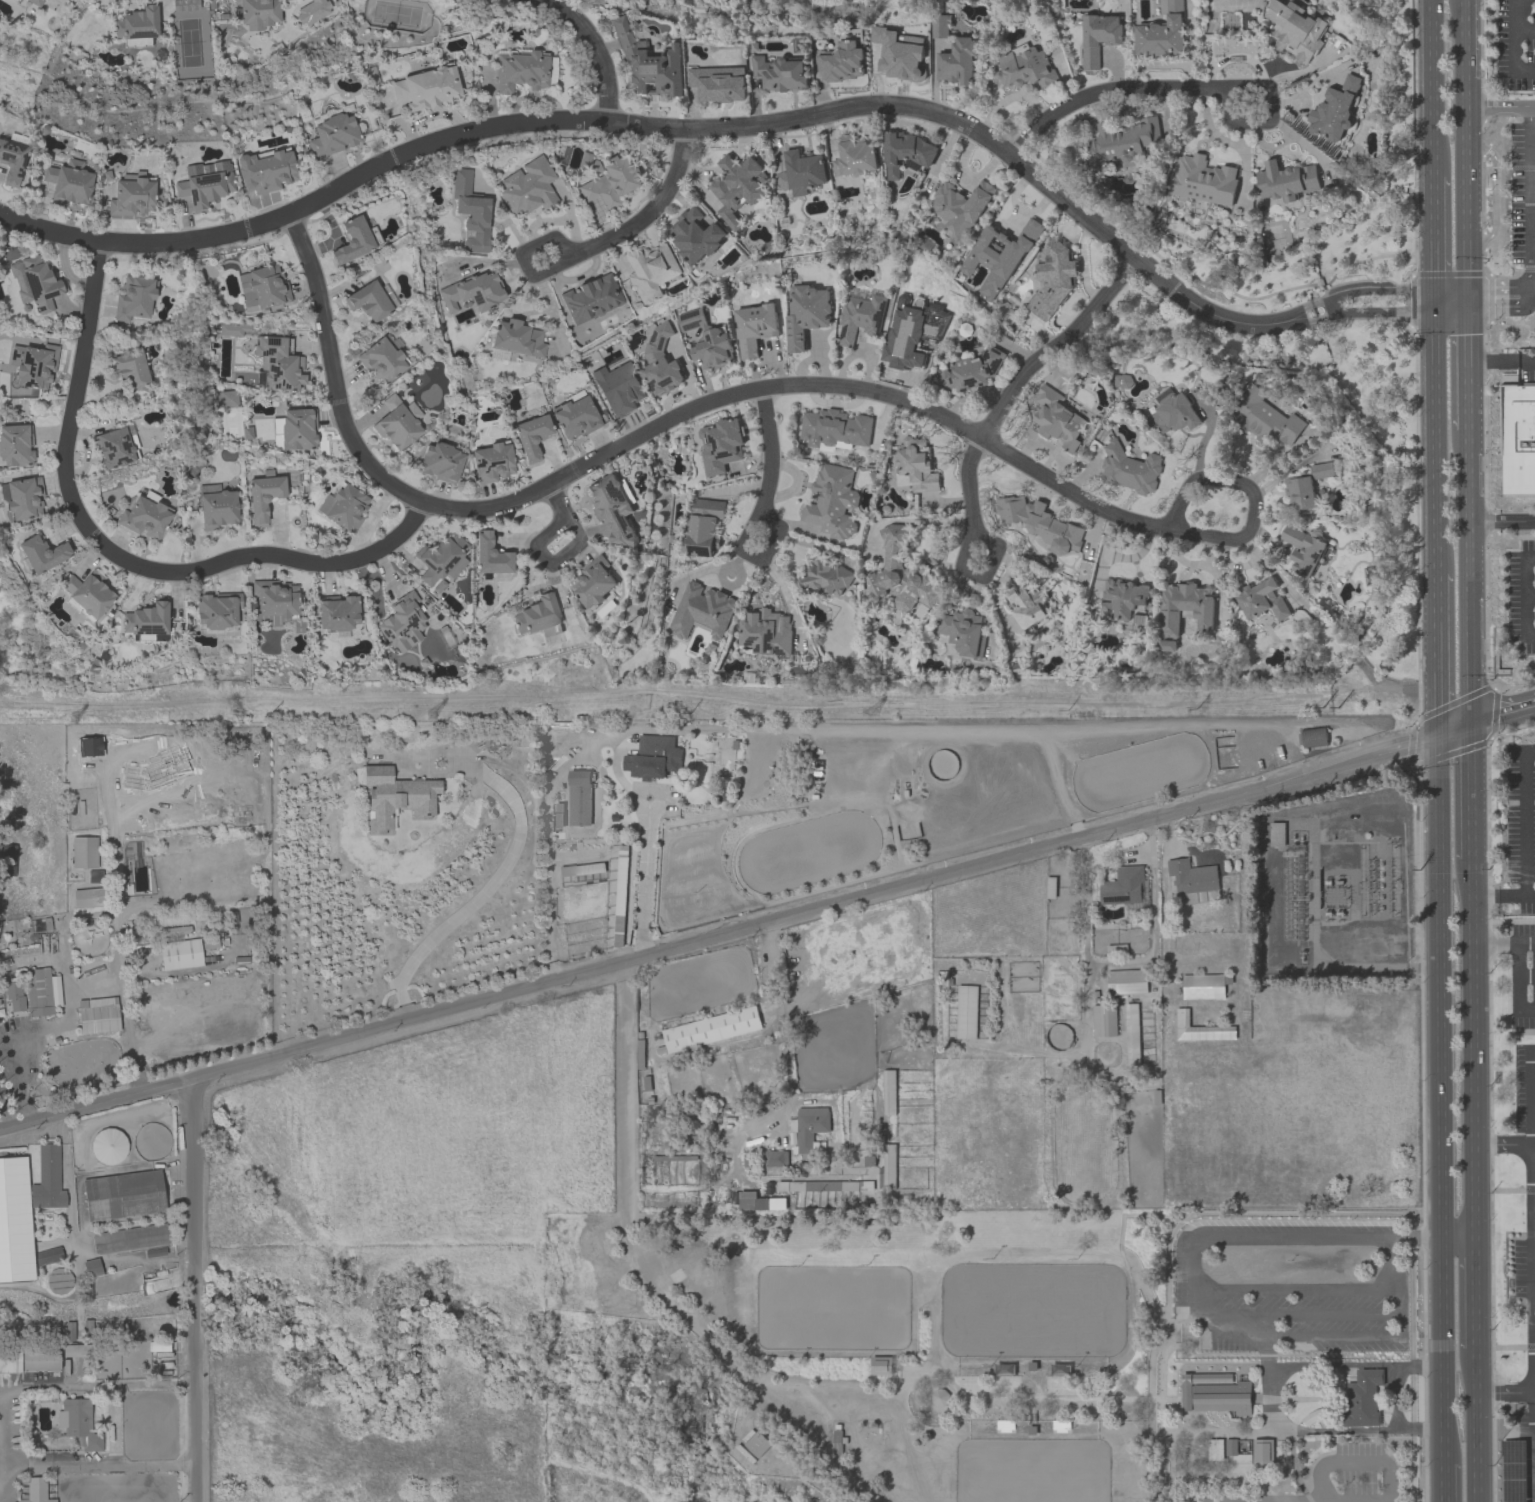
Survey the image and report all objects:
building: (34, 2)
building: (312, 11)
building: (258, 13)
building: (136, 24)
building: (941, 25)
building: (1295, 30)
building: (1162, 32)
road: (1525, 33)
rooftop solar panel: (143, 35)
building: (1098, 36)
parking lot: (1516, 43)
road: (1515, 47)
road: (595, 50)
building: (901, 54)
building: (957, 61)
building: (647, 62)
building: (842, 62)
building: (1024, 67)
building: (519, 72)
building: (781, 73)
building: (719, 83)
road: (1186, 85)
road: (1430, 88)
building: (426, 89)
road: (1500, 105)
building: (1335, 109)
road: (688, 126)
building: (333, 135)
rooftop solar panel: (10, 142)
building: (1124, 142)
road: (1465, 150)
building: (906, 152)
rooftop solar panel: (5, 153)
building: (854, 157)
rooftop solar panel: (24, 159)
building: (12, 162)
building: (265, 171)
building: (801, 172)
rooftop solar panel: (17, 175)
rooftop solar panel: (209, 179)
building: (1202, 180)
building: (1285, 180)
building: (69, 182)
building: (609, 183)
building: (528, 187)
building: (737, 187)
building: (204, 189)
road: (1496, 193)
building: (132, 196)
building: (959, 208)
building: (471, 213)
building: (694, 235)
road: (1432, 238)
building: (353, 241)
road: (589, 249)
building: (997, 256)
road: (65, 266)
building: (650, 272)
building: (1051, 278)
rooftop solar panel: (33, 284)
building: (35, 284)
building: (263, 288)
road: (1372, 291)
building: (472, 292)
rooftop solar panel: (50, 294)
rooftop solar panel: (477, 296)
road: (1499, 296)
building: (134, 299)
building: (590, 299)
traffic signals: (1433, 300)
road: (1439, 300)
traffic signals: (1465, 300)
building: (368, 301)
road: (1338, 310)
road: (1381, 312)
building: (805, 314)
building: (859, 315)
rooftop solar panel: (881, 315)
building: (753, 327)
building: (231, 330)
rooftop solar panel: (843, 331)
building: (517, 339)
building: (705, 339)
rooftop solar panel: (274, 341)
rooftop solar panel: (268, 351)
building: (498, 356)
road: (819, 358)
building: (382, 360)
road: (1500, 360)
road: (868, 361)
building: (660, 362)
building: (34, 365)
building: (278, 365)
road: (1466, 365)
building: (130, 369)
building: (971, 370)
rooftop solar panel: (275, 371)
building: (1122, 380)
rooftop solar panel: (281, 383)
rooftop solar panel: (274, 386)
building: (619, 388)
road: (971, 395)
building: (228, 399)
road: (832, 402)
building: (1172, 413)
road: (673, 415)
building: (574, 416)
building: (1057, 418)
building: (1264, 418)
building: (398, 423)
building: (834, 428)
building: (298, 429)
road: (981, 436)
road: (1434, 436)
building: (531, 437)
building: (1518, 439)
building: (721, 444)
building: (16, 446)
building: (115, 448)
road: (1047, 448)
road: (85, 453)
building: (440, 462)
building: (492, 463)
building: (916, 464)
building: (1128, 469)
road: (1467, 476)
road: (1220, 478)
building: (1305, 486)
building: (209, 488)
road: (739, 488)
rooftop solar panel: (614, 489)
road: (795, 492)
rooftop solar panel: (620, 493)
building: (263, 498)
building: (831, 501)
building: (614, 506)
building: (344, 508)
building: (217, 510)
road: (751, 516)
building: (144, 518)
road: (372, 518)
road: (1418, 519)
road: (1500, 520)
building: (1039, 523)
building: (703, 527)
road: (64, 530)
road: (278, 533)
road: (517, 542)
road: (194, 546)
building: (1302, 549)
road: (1103, 551)
building: (42, 554)
road: (116, 555)
rooftop solar panel: (1318, 555)
building: (490, 556)
road: (564, 556)
road: (89, 559)
road: (1187, 561)
building: (441, 562)
rooftop solar panel: (428, 563)
rooftop solar panel: (438, 569)
rooftop solar panel: (1309, 569)
road: (385, 571)
building: (901, 574)
building: (826, 577)
building: (594, 582)
road: (735, 584)
road: (1487, 585)
road: (784, 592)
building: (88, 593)
road: (1527, 594)
road: (1531, 596)
building: (1120, 599)
building: (1261, 600)
building: (273, 602)
building: (1029, 606)
building: (1182, 606)
building: (217, 611)
building: (701, 611)
building: (337, 613)
building: (538, 617)
road: (1467, 618)
building: (146, 620)
building: (402, 624)
rooftop solar panel: (150, 629)
building: (765, 632)
building: (963, 632)
road: (1437, 649)
road: (1523, 683)
road: (1511, 694)
road: (1456, 701)
power tower: (239, 705)
power tower: (1329, 705)
road: (1501, 705)
road: (1421, 711)
road: (1495, 712)
road: (1533, 712)
power tower: (874, 714)
traffic signals: (1468, 716)
road: (1453, 721)
road: (1499, 721)
road: (1468, 723)
traffic signals: (1438, 726)
traffic signals: (1468, 731)
road: (1425, 732)
road: (1438, 733)
road: (1518, 734)
road: (1453, 735)
road: (1425, 739)
traffic signals: (1438, 740)
road: (1411, 743)
road: (1386, 745)
road: (1489, 748)
road: (1451, 752)
building: (653, 757)
road: (1422, 776)
road: (1468, 796)
building: (579, 797)
building: (396, 798)
road: (1489, 815)
road: (1526, 821)
parking lot: (1521, 825)
road: (1167, 830)
building: (1276, 834)
road: (1150, 842)
building: (84, 853)
building: (7, 860)
road: (505, 870)
rooftop solar panel: (585, 870)
building: (1191, 876)
road: (644, 881)
building: (1122, 886)
power substation: (1342, 886)
road: (1492, 887)
road: (1490, 895)
road: (1482, 896)
road: (1514, 896)
building: (88, 898)
road: (1489, 901)
road: (1504, 920)
road: (1495, 943)
road: (1527, 943)
road: (680, 945)
building: (180, 954)
road: (1100, 963)
road: (1527, 973)
parking lot: (1523, 975)
building: (1126, 982)
road: (1520, 984)
building: (1204, 986)
building: (34, 993)
building: (966, 1011)
building: (1103, 1020)
building: (95, 1021)
building: (711, 1029)
building: (1199, 1029)
building: (1131, 1034)
road: (1472, 1048)
road: (789, 1062)
road: (17, 1081)
building: (888, 1092)
road: (1532, 1095)
parking lot: (1525, 1101)
road: (5, 1119)
road: (1441, 1120)
building: (810, 1125)
road: (1533, 1144)
building: (108, 1146)
building: (775, 1158)
building: (47, 1180)
building: (123, 1196)
road: (1534, 1201)
building: (759, 1202)
building: (15, 1221)
road: (1458, 1235)
road: (1534, 1237)
building: (129, 1239)
road: (1391, 1263)
building: (91, 1268)
parking lot: (1524, 1268)
road: (651, 1279)
parking lot: (1293, 1283)
road: (1275, 1291)
road: (194, 1292)
park: (831, 1307)
park: (1032, 1310)
road: (1474, 1313)
road: (1308, 1315)
road: (1266, 1357)
building: (29, 1360)
building: (880, 1365)
road: (1505, 1391)
building: (1215, 1393)
building: (938, 1397)
road: (1267, 1398)
road: (1395, 1398)
building: (1363, 1399)
road: (1281, 1419)
building: (78, 1424)
road: (7, 1432)
building: (756, 1444)
road: (1475, 1446)
building: (1231, 1447)
building: (1215, 1450)
building: (1263, 1452)
parking lot: (1520, 1452)
road: (1534, 1456)
road: (1356, 1464)
park: (1032, 1470)
parking lot: (1359, 1472)
building: (36, 1490)
road: (1308, 1498)

